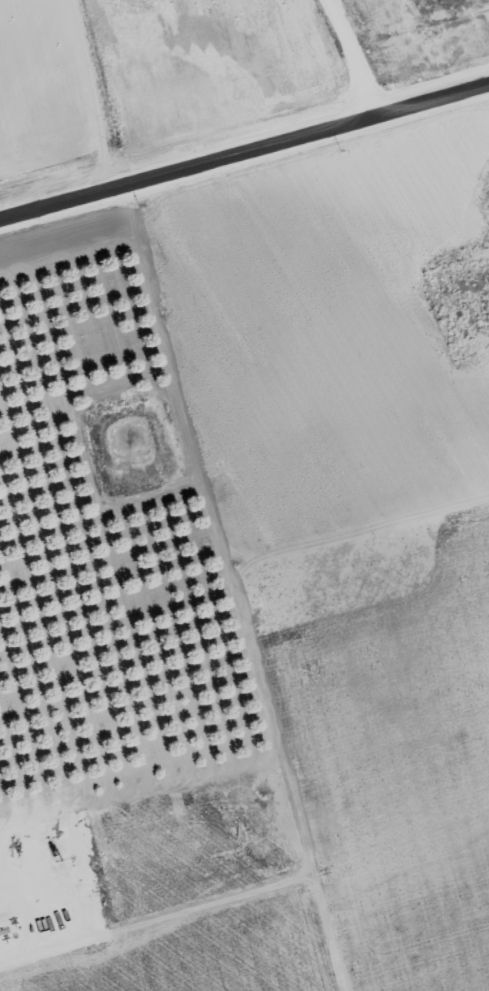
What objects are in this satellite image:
road: (354, 57)
road: (241, 167)
road: (210, 606)

